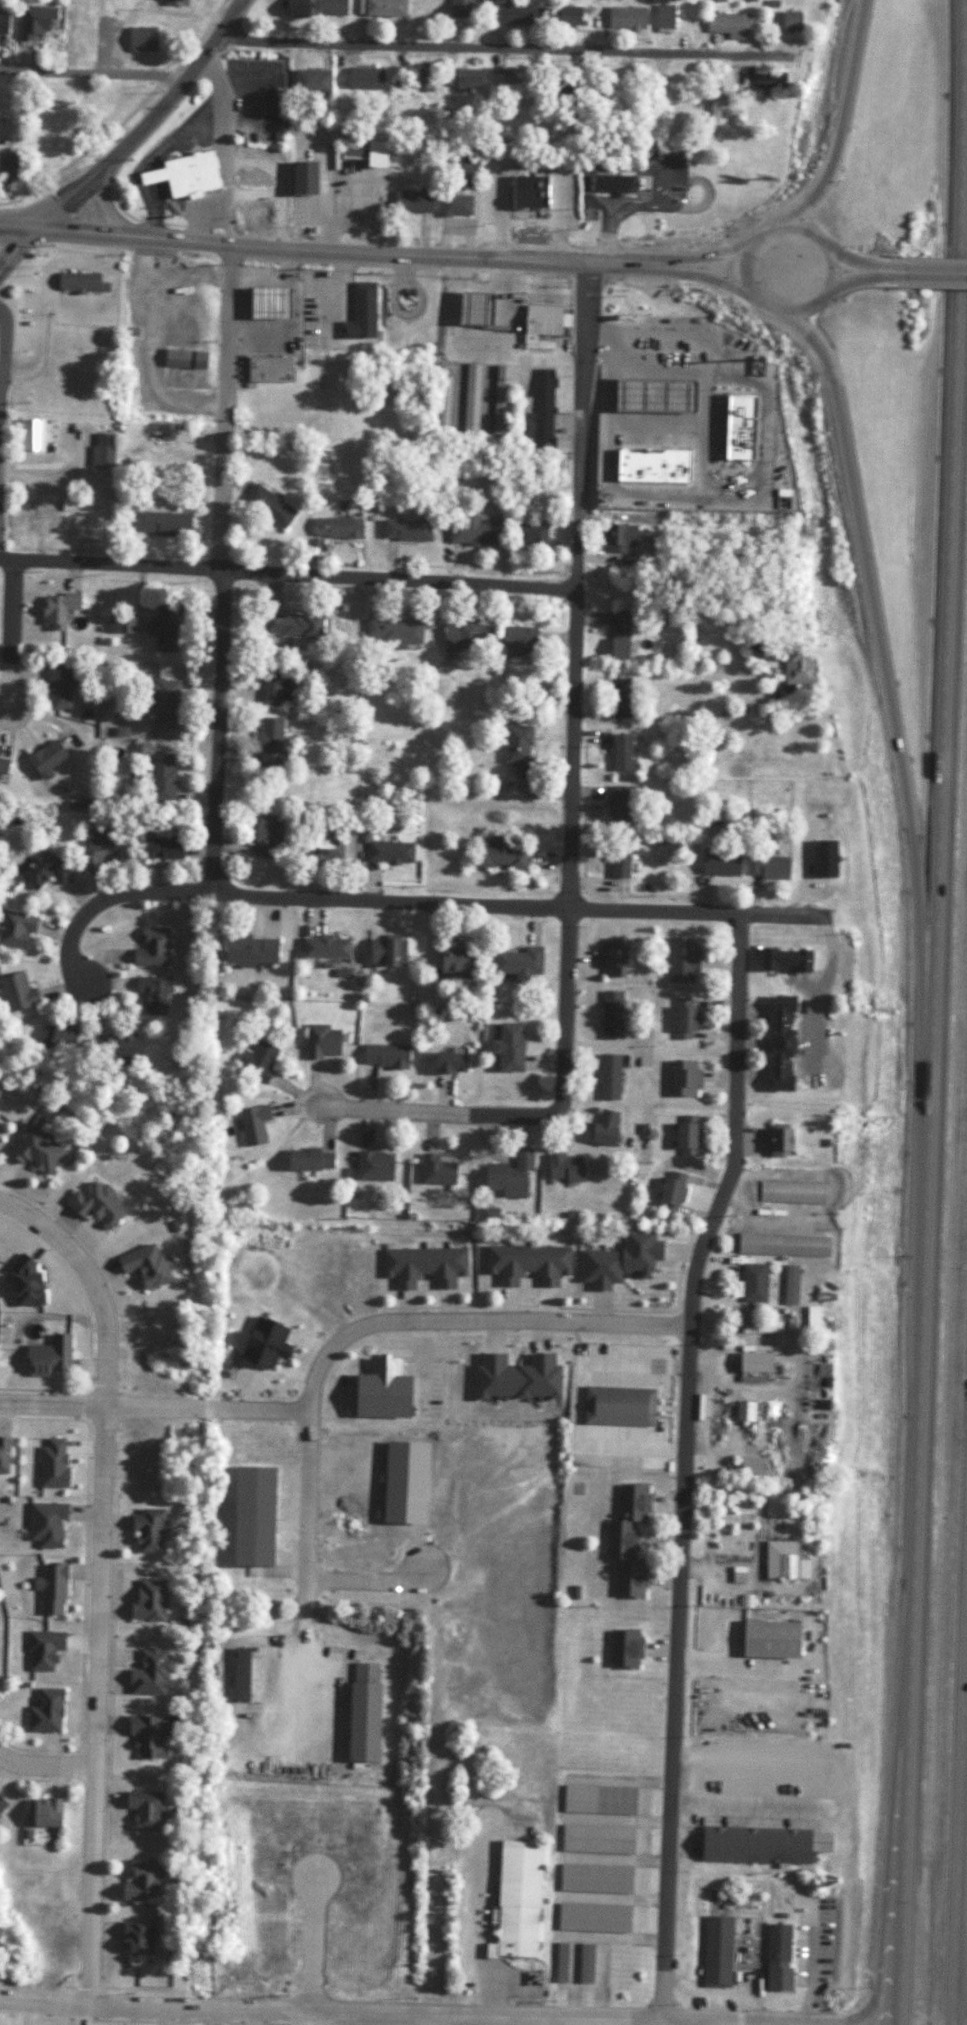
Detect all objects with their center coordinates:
building: (174, 2)
building: (330, 7)
building: (382, 7)
building: (458, 9)
building: (514, 11)
building: (954, 14)
building: (566, 16)
building: (624, 18)
building: (664, 18)
building: (789, 21)
building: (31, 22)
building: (2, 23)
building: (728, 25)
building: (140, 39)
building: (78, 43)
road: (501, 46)
road: (92, 72)
building: (364, 78)
building: (465, 79)
building: (310, 81)
building: (763, 82)
building: (509, 84)
building: (557, 87)
parking lot: (257, 97)
building: (715, 102)
building: (676, 106)
road: (841, 117)
road: (147, 118)
road: (124, 120)
building: (46, 144)
building: (362, 150)
road: (223, 151)
road: (142, 157)
building: (467, 166)
building: (7, 168)
building: (185, 173)
building: (611, 182)
road: (277, 183)
building: (529, 191)
building: (262, 193)
road: (250, 194)
building: (411, 202)
building: (455, 206)
road: (198, 220)
road: (21, 228)
road: (721, 249)
road: (18, 250)
road: (361, 252)
road: (865, 262)
road: (713, 272)
road: (932, 274)
road: (865, 278)
building: (79, 283)
building: (264, 303)
building: (400, 303)
building: (470, 309)
gas station: (470, 309)
road: (790, 313)
gas station: (544, 319)
building: (357, 321)
building: (544, 324)
parking lot: (729, 334)
parking lot: (667, 352)
building: (184, 359)
road: (729, 359)
road: (2, 369)
building: (267, 369)
gas station: (656, 395)
building: (651, 396)
building: (469, 397)
building: (497, 400)
building: (441, 405)
building: (541, 408)
road: (651, 426)
building: (742, 426)
road: (699, 430)
building: (29, 435)
building: (164, 440)
building: (101, 450)
gas station: (653, 464)
building: (649, 466)
building: (746, 480)
road: (686, 492)
building: (267, 506)
building: (163, 524)
building: (335, 529)
building: (405, 531)
building: (470, 532)
building: (526, 535)
building: (621, 539)
road: (226, 571)
road: (285, 573)
road: (677, 608)
road: (874, 625)
building: (290, 626)
building: (163, 629)
building: (391, 631)
road: (12, 635)
building: (617, 637)
building: (463, 638)
building: (517, 642)
building: (692, 661)
building: (793, 666)
building: (271, 685)
building: (53, 686)
building: (618, 699)
building: (161, 702)
building: (267, 743)
building: (515, 752)
building: (619, 753)
building: (44, 759)
building: (2, 766)
building: (159, 778)
building: (618, 805)
road: (571, 807)
building: (266, 829)
building: (158, 846)
building: (323, 847)
building: (388, 850)
building: (96, 851)
building: (497, 854)
building: (822, 859)
building: (616, 863)
building: (718, 865)
building: (42, 868)
building: (767, 868)
road: (108, 901)
road: (521, 907)
building: (14, 928)
building: (322, 946)
building: (151, 947)
building: (247, 950)
building: (385, 950)
building: (612, 957)
building: (452, 959)
building: (680, 959)
building: (781, 959)
building: (517, 963)
building: (15, 992)
building: (152, 994)
road: (929, 1012)
building: (610, 1015)
building: (683, 1018)
building: (56, 1039)
building: (321, 1040)
building: (777, 1043)
building: (116, 1045)
building: (506, 1047)
building: (384, 1056)
building: (255, 1060)
building: (447, 1062)
building: (607, 1077)
building: (683, 1078)
building: (252, 1123)
building: (602, 1126)
building: (683, 1134)
building: (776, 1141)
building: (31, 1149)
building: (308, 1158)
building: (372, 1165)
building: (564, 1166)
building: (435, 1170)
building: (508, 1174)
building: (669, 1191)
building: (791, 1192)
building: (92, 1204)
road: (74, 1235)
building: (781, 1245)
building: (526, 1264)
building: (141, 1265)
building: (421, 1266)
building: (22, 1282)
building: (753, 1283)
building: (789, 1285)
road: (571, 1309)
road: (90, 1327)
road: (364, 1329)
building: (47, 1357)
building: (753, 1362)
building: (379, 1390)
road: (295, 1392)
building: (616, 1406)
road: (154, 1407)
building: (3, 1455)
building: (51, 1462)
road: (684, 1462)
building: (751, 1466)
building: (247, 1515)
building: (44, 1524)
building: (144, 1531)
building: (631, 1538)
building: (783, 1559)
road: (99, 1581)
road: (370, 1581)
road: (83, 1583)
building: (50, 1588)
building: (145, 1599)
building: (768, 1638)
building: (627, 1648)
building: (41, 1649)
building: (237, 1674)
road: (302, 1685)
building: (44, 1712)
building: (360, 1713)
building: (143, 1736)
road: (109, 1741)
road: (45, 1766)
road: (30, 1778)
building: (598, 1800)
building: (0, 1805)
building: (143, 1810)
building: (41, 1813)
building: (596, 1839)
building: (759, 1845)
road: (962, 1876)
building: (594, 1878)
building: (138, 1883)
building: (518, 1899)
building: (592, 1917)
building: (776, 1942)
building: (135, 1943)
building: (715, 1951)
building: (562, 1963)
building: (584, 1964)
road: (35, 1989)
road: (86, 1990)
road: (330, 2010)
road: (309, 2017)
road: (147, 2021)
road: (716, 2021)
road: (687, 2022)
road: (312, 2024)

